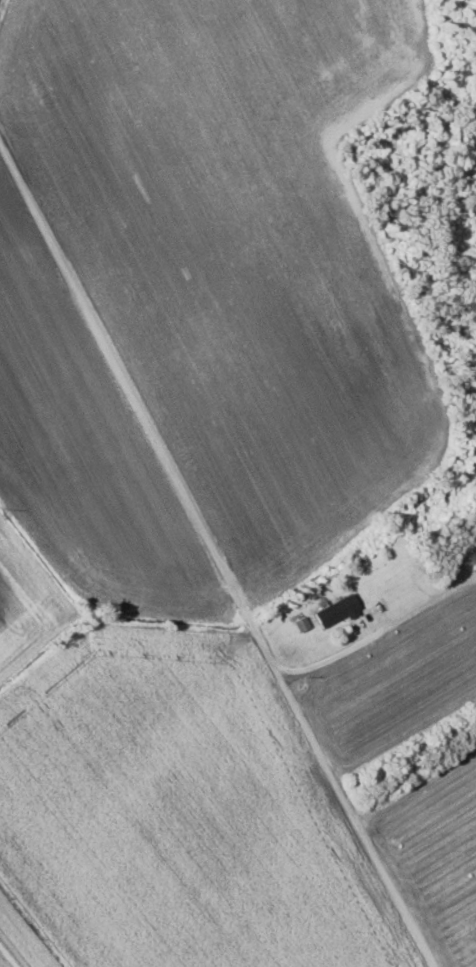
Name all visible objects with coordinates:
road: (176, 478)
building: (337, 610)
building: (301, 623)
road: (365, 641)
road: (394, 891)

